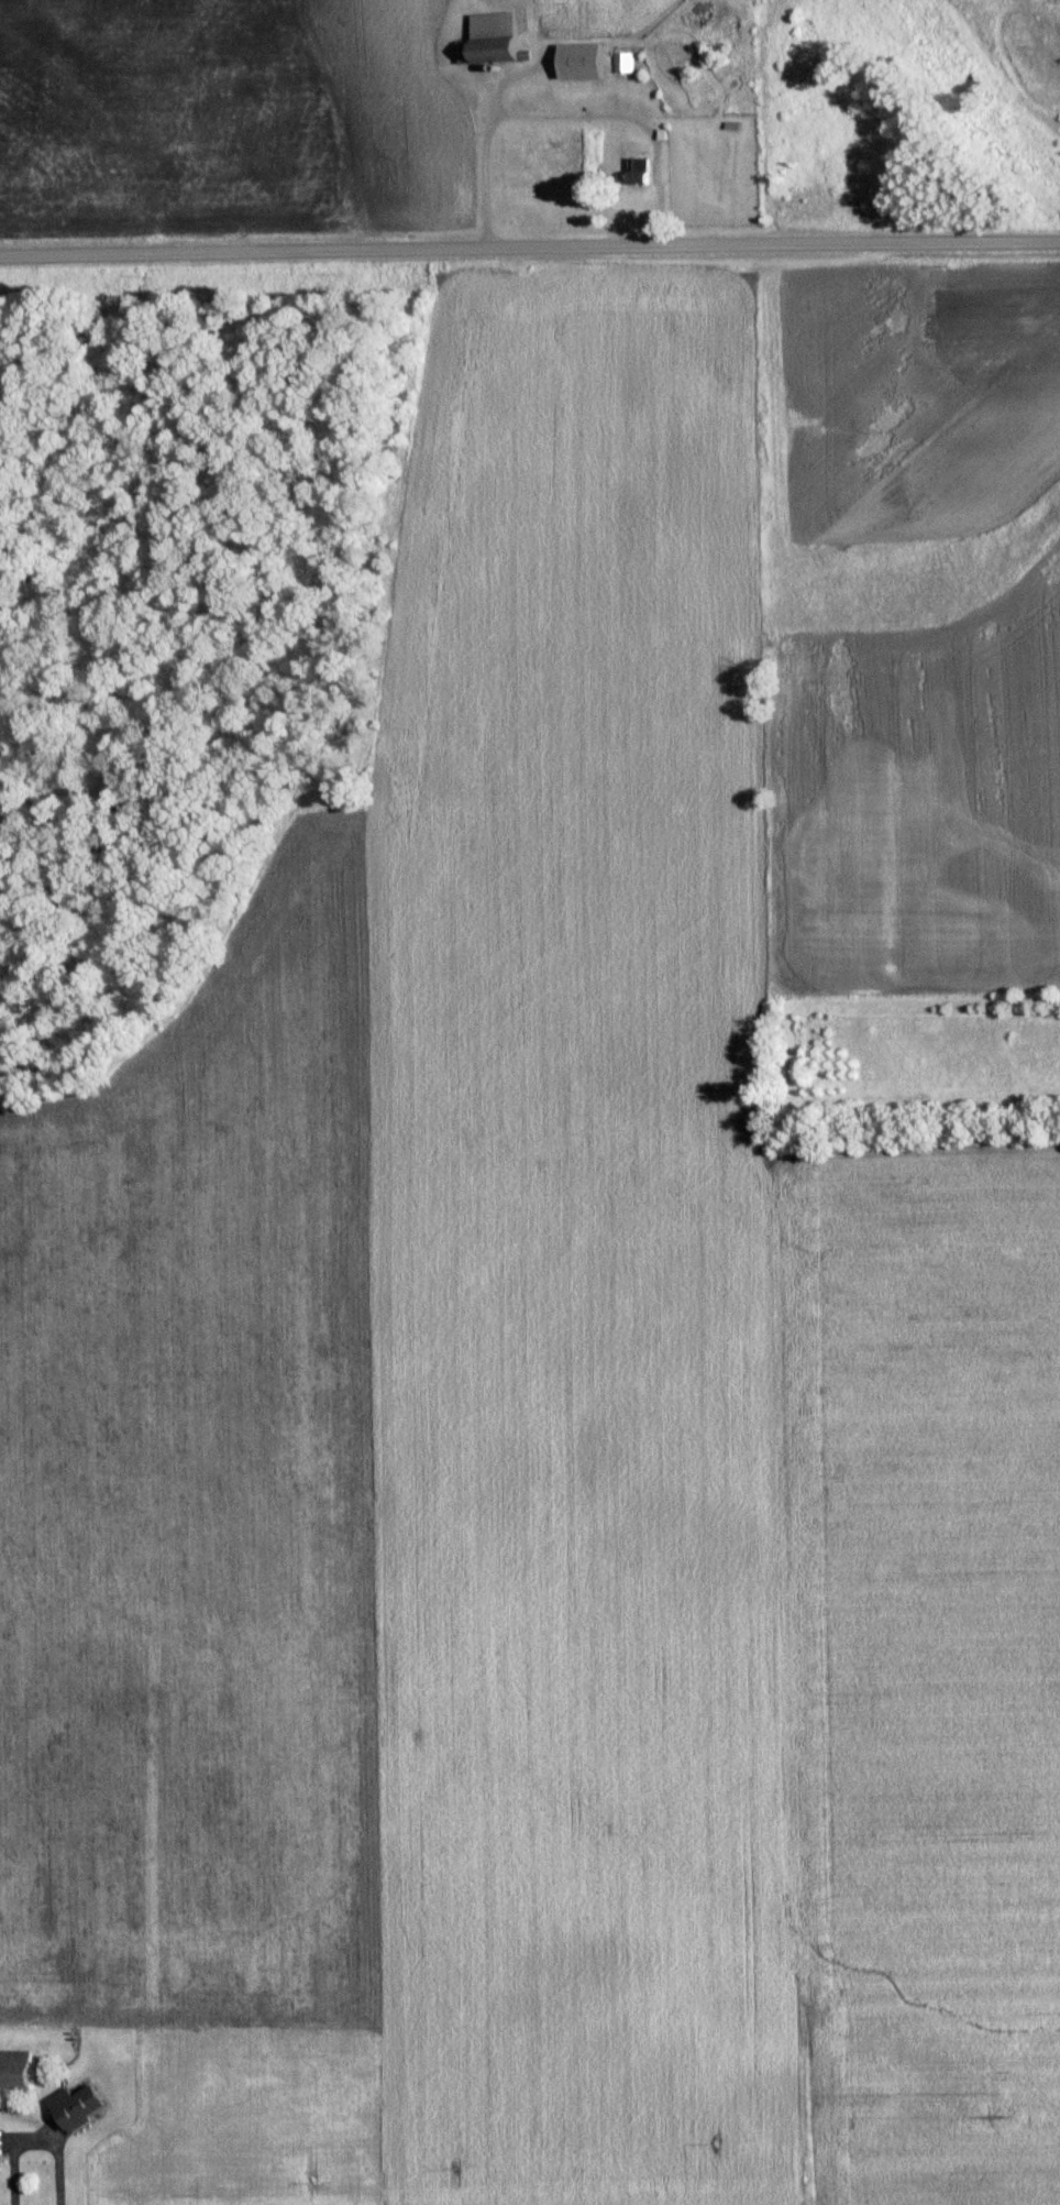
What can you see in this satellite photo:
building: (490, 33)
building: (583, 57)
building: (622, 61)
building: (643, 167)
road: (529, 248)
building: (21, 2067)
building: (84, 2104)
building: (3, 2141)

